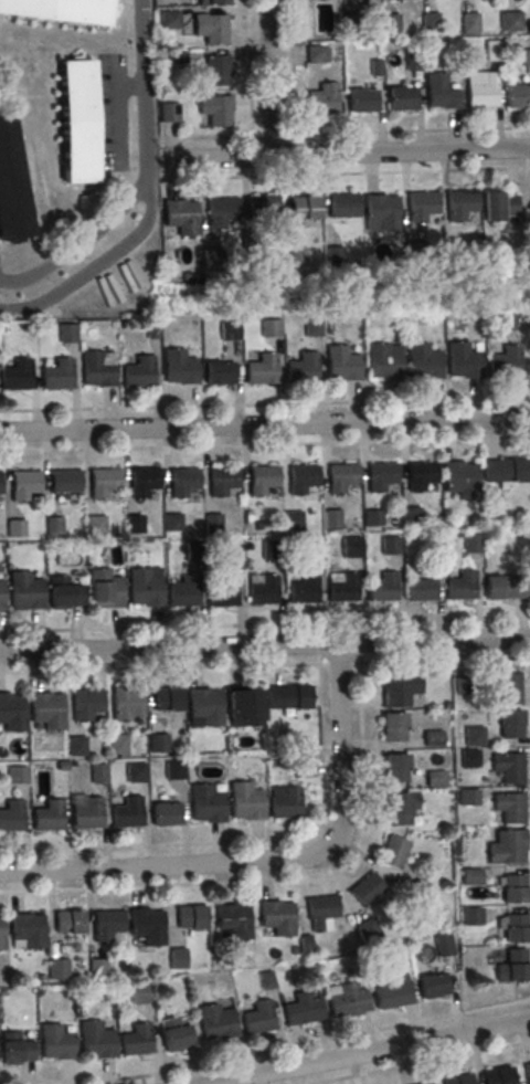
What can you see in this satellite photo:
building: (357, 0)
building: (212, 1)
building: (60, 10)
building: (169, 19)
building: (511, 20)
building: (430, 21)
building: (390, 22)
building: (469, 22)
building: (210, 30)
building: (491, 49)
building: (317, 53)
building: (526, 56)
building: (413, 60)
road: (288, 67)
road: (248, 69)
building: (215, 70)
road: (268, 78)
building: (441, 94)
road: (145, 95)
building: (517, 95)
building: (480, 97)
building: (401, 101)
building: (362, 103)
building: (321, 105)
building: (169, 112)
building: (213, 113)
building: (86, 118)
road: (390, 133)
road: (354, 154)
road: (344, 175)
building: (11, 189)
building: (500, 204)
building: (459, 207)
building: (342, 208)
building: (421, 209)
building: (261, 210)
building: (304, 210)
building: (220, 214)
building: (380, 214)
building: (179, 218)
road: (528, 227)
road: (78, 249)
building: (452, 252)
building: (414, 254)
building: (255, 259)
building: (297, 259)
building: (332, 259)
building: (212, 260)
road: (93, 270)
building: (504, 325)
building: (311, 329)
building: (269, 330)
building: (66, 331)
building: (229, 333)
building: (422, 362)
building: (462, 362)
building: (382, 364)
building: (504, 365)
building: (340, 367)
building: (178, 369)
building: (95, 371)
building: (261, 372)
building: (300, 372)
building: (137, 375)
building: (218, 376)
building: (15, 377)
building: (55, 378)
road: (265, 406)
road: (265, 425)
road: (265, 445)
building: (504, 472)
building: (421, 473)
building: (380, 474)
building: (303, 476)
building: (340, 476)
building: (459, 477)
building: (222, 478)
building: (262, 478)
building: (142, 480)
building: (183, 481)
building: (0, 482)
building: (64, 482)
building: (104, 482)
building: (23, 484)
building: (410, 519)
building: (371, 520)
building: (331, 522)
building: (293, 523)
building: (172, 525)
building: (212, 525)
building: (134, 526)
building: (54, 527)
building: (94, 527)
building: (15, 530)
building: (469, 546)
building: (349, 548)
building: (389, 548)
building: (311, 549)
building: (272, 552)
building: (192, 554)
building: (501, 586)
building: (145, 587)
building: (105, 588)
building: (459, 589)
building: (25, 590)
building: (382, 590)
building: (342, 591)
building: (421, 591)
building: (303, 592)
building: (184, 593)
building: (221, 593)
building: (262, 593)
building: (1, 594)
building: (63, 599)
road: (265, 627)
road: (265, 645)
road: (265, 666)
building: (400, 688)
building: (507, 691)
building: (287, 696)
building: (167, 698)
building: (87, 703)
building: (127, 703)
building: (245, 705)
building: (205, 706)
building: (46, 709)
building: (11, 712)
building: (508, 727)
building: (392, 730)
building: (473, 737)
building: (432, 740)
building: (117, 743)
building: (76, 744)
building: (157, 745)
building: (467, 759)
building: (306, 767)
building: (135, 771)
building: (173, 771)
building: (510, 771)
building: (97, 772)
building: (393, 772)
building: (17, 773)
building: (433, 781)
building: (245, 800)
building: (284, 801)
building: (205, 802)
building: (511, 811)
building: (127, 812)
building: (396, 812)
building: (88, 813)
building: (165, 813)
building: (11, 814)
building: (47, 814)
road: (241, 842)
building: (509, 849)
building: (393, 851)
road: (268, 860)
building: (469, 878)
road: (276, 880)
building: (365, 888)
building: (511, 891)
building: (321, 912)
building: (190, 916)
building: (277, 916)
building: (471, 918)
building: (233, 919)
building: (68, 920)
building: (106, 923)
building: (147, 924)
building: (368, 928)
building: (28, 929)
building: (513, 932)
building: (1, 934)
building: (443, 944)
building: (176, 960)
building: (56, 969)
building: (95, 969)
building: (513, 971)
building: (266, 979)
building: (432, 985)
building: (138, 993)
building: (391, 993)
building: (347, 999)
building: (301, 1008)
building: (257, 1017)
building: (216, 1021)
building: (176, 1034)
building: (96, 1039)
building: (136, 1039)
building: (55, 1041)
building: (15, 1046)
road: (271, 1052)
road: (369, 1052)
road: (422, 1063)
building: (528, 1072)
building: (497, 1075)
building: (458, 1078)
building: (417, 1083)
building: (431, 1083)

